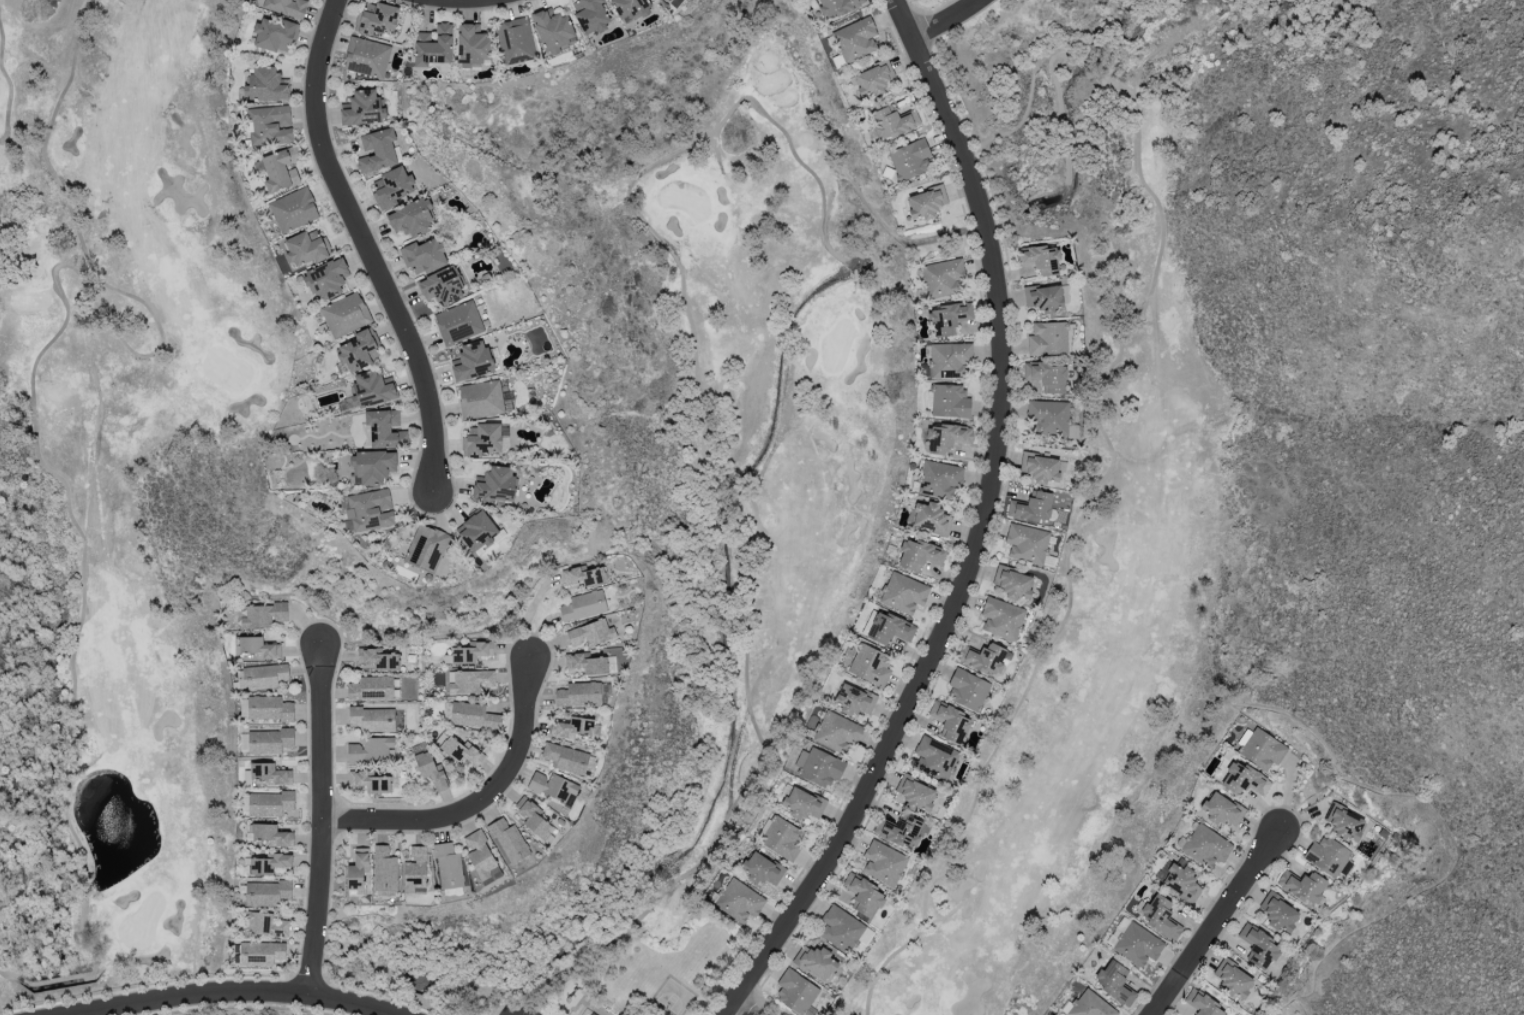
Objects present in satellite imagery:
building: (837, 6)
building: (287, 7)
building: (629, 8)
building: (589, 15)
building: (376, 19)
road: (946, 21)
building: (552, 31)
building: (273, 35)
building: (855, 39)
building: (514, 40)
building: (433, 47)
building: (472, 47)
building: (366, 57)
building: (873, 79)
building: (264, 85)
building: (362, 108)
building: (890, 123)
building: (271, 125)
building: (376, 150)
building: (909, 159)
building: (281, 168)
building: (393, 187)
building: (925, 202)
building: (292, 210)
building: (411, 218)
road: (367, 246)
building: (305, 248)
building: (423, 256)
building: (1040, 259)
building: (941, 278)
building: (324, 279)
building: (441, 286)
building: (1042, 298)
building: (345, 315)
building: (947, 318)
building: (458, 323)
building: (1048, 339)
building: (356, 352)
building: (949, 360)
building: (471, 361)
building: (1046, 376)
building: (372, 389)
building: (483, 399)
building: (949, 401)
building: (1053, 418)
building: (385, 429)
building: (366, 436)
building: (946, 438)
building: (482, 441)
building: (372, 466)
building: (1039, 468)
building: (939, 479)
building: (495, 484)
park: (1193, 484)
building: (1032, 507)
park: (166, 509)
building: (369, 510)
building: (930, 518)
road: (981, 529)
building: (477, 532)
building: (1026, 543)
building: (426, 548)
building: (918, 555)
building: (584, 576)
building: (1012, 583)
building: (903, 593)
building: (582, 605)
road: (530, 609)
building: (263, 615)
building: (1002, 618)
building: (886, 628)
building: (590, 633)
building: (258, 648)
building: (471, 653)
building: (983, 658)
building: (378, 659)
building: (586, 664)
building: (869, 665)
building: (263, 676)
building: (470, 681)
building: (370, 688)
building: (968, 689)
building: (853, 700)
building: (268, 708)
building: (473, 716)
building: (372, 719)
building: (949, 722)
building: (571, 728)
building: (836, 732)
building: (268, 741)
building: (370, 749)
building: (1260, 749)
building: (459, 750)
park: (403, 756)
building: (565, 758)
building: (934, 759)
building: (430, 771)
building: (270, 774)
building: (1243, 780)
building: (369, 782)
building: (553, 787)
building: (913, 794)
road: (480, 800)
building: (269, 804)
building: (802, 804)
building: (1220, 810)
building: (532, 817)
road: (322, 820)
building: (1344, 823)
building: (899, 831)
building: (272, 835)
building: (782, 839)
building: (509, 841)
building: (1205, 845)
building: (479, 856)
building: (1327, 856)
building: (883, 863)
building: (269, 864)
building: (448, 867)
building: (357, 869)
building: (384, 869)
building: (761, 869)
building: (414, 870)
building: (1180, 882)
building: (1303, 887)
building: (266, 893)
building: (863, 894)
building: (738, 902)
building: (1277, 913)
building: (1158, 916)
road: (1216, 922)
building: (267, 924)
building: (839, 929)
building: (1134, 942)
building: (1258, 947)
building: (260, 953)
building: (815, 961)
building: (1232, 980)
building: (1113, 982)
road: (236, 992)
building: (795, 992)
building: (1202, 1004)
building: (1090, 1005)
road: (740, 1010)
road: (509, 1013)
building: (592, 1014)

